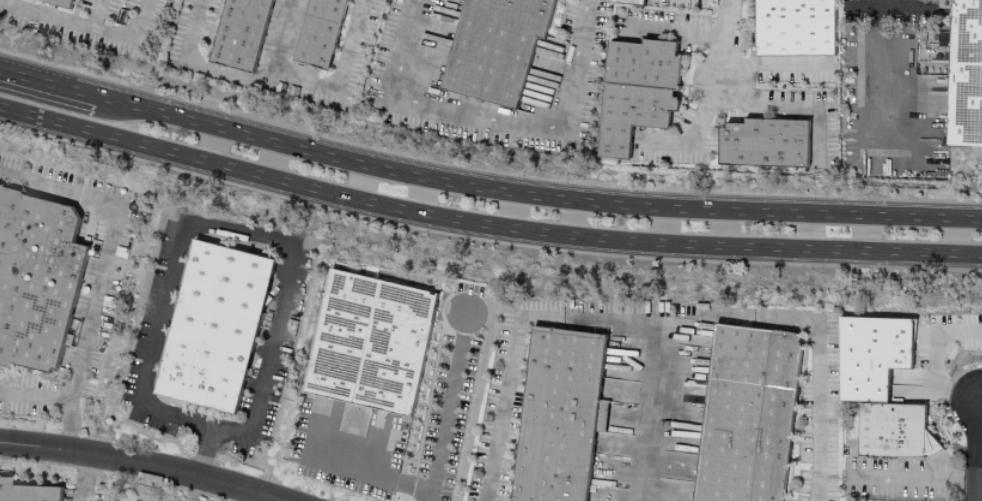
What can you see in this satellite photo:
building: (31, 0)
building: (631, 2)
building: (60, 3)
road: (860, 6)
road: (899, 7)
road: (96, 19)
building: (796, 28)
building: (321, 33)
building: (243, 34)
road: (681, 34)
road: (86, 36)
road: (728, 41)
building: (497, 49)
building: (645, 64)
road: (777, 68)
building: (966, 75)
road: (339, 78)
road: (238, 79)
road: (876, 88)
road: (792, 106)
building: (634, 116)
road: (489, 121)
road: (692, 134)
building: (766, 144)
road: (484, 189)
road: (484, 227)
road: (246, 244)
road: (104, 245)
building: (36, 280)
road: (663, 321)
building: (208, 326)
building: (367, 343)
road: (942, 359)
building: (873, 384)
road: (34, 396)
road: (448, 401)
road: (647, 410)
building: (555, 414)
building: (741, 414)
road: (70, 424)
road: (385, 449)
road: (142, 462)
road: (980, 464)
road: (347, 466)
road: (89, 476)
road: (903, 479)
building: (28, 493)
road: (614, 494)
road: (255, 497)

